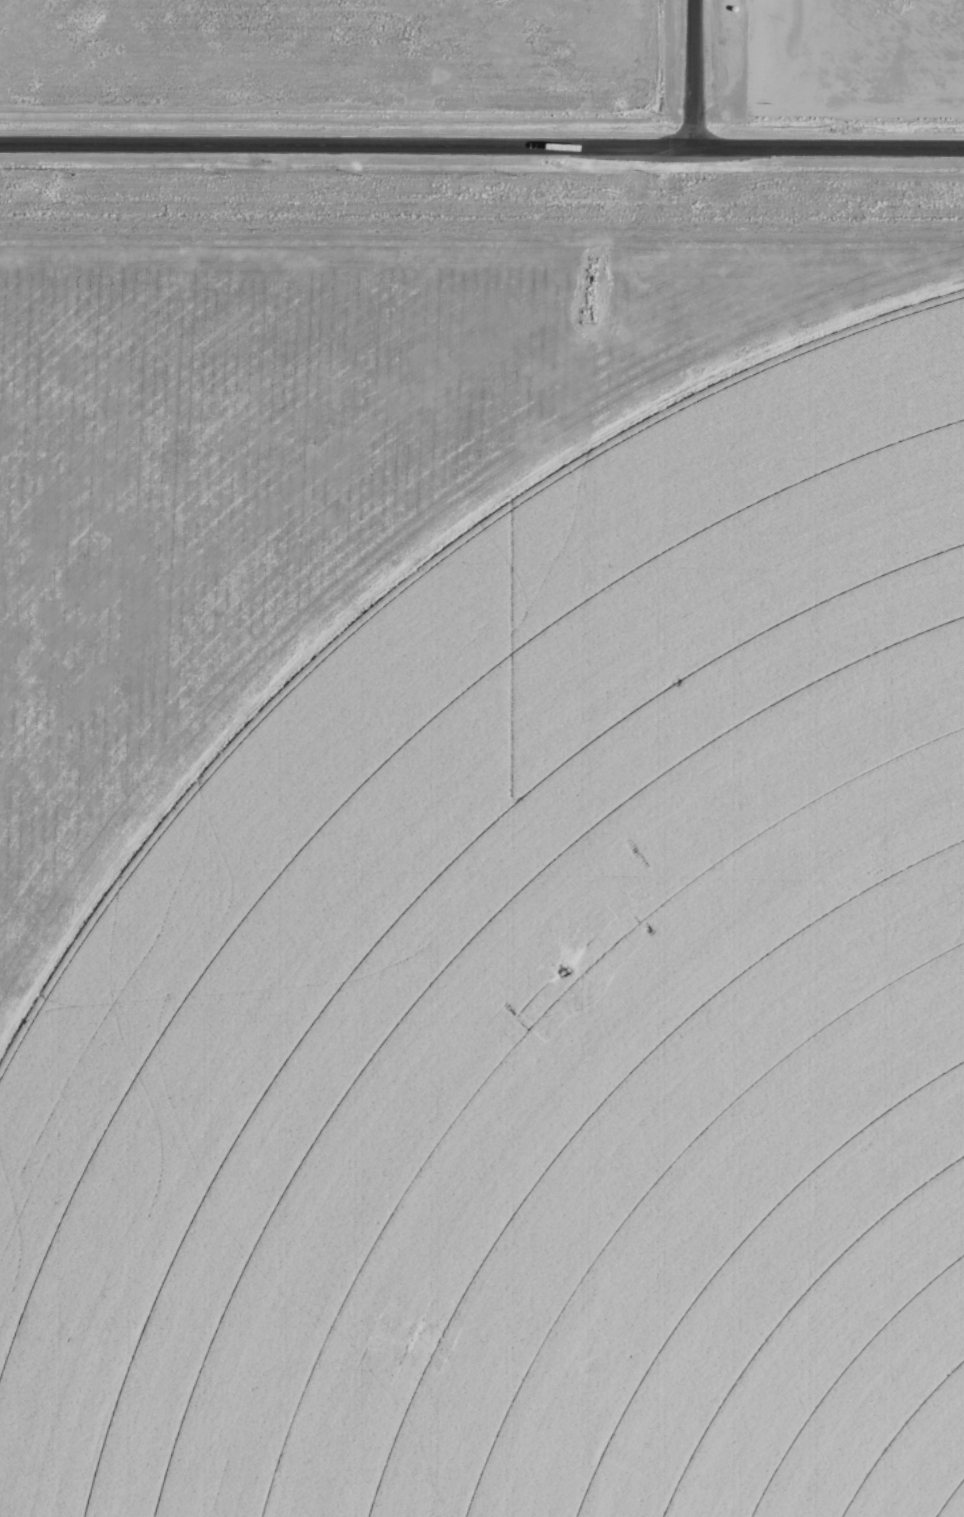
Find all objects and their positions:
road: (695, 71)
road: (482, 142)

